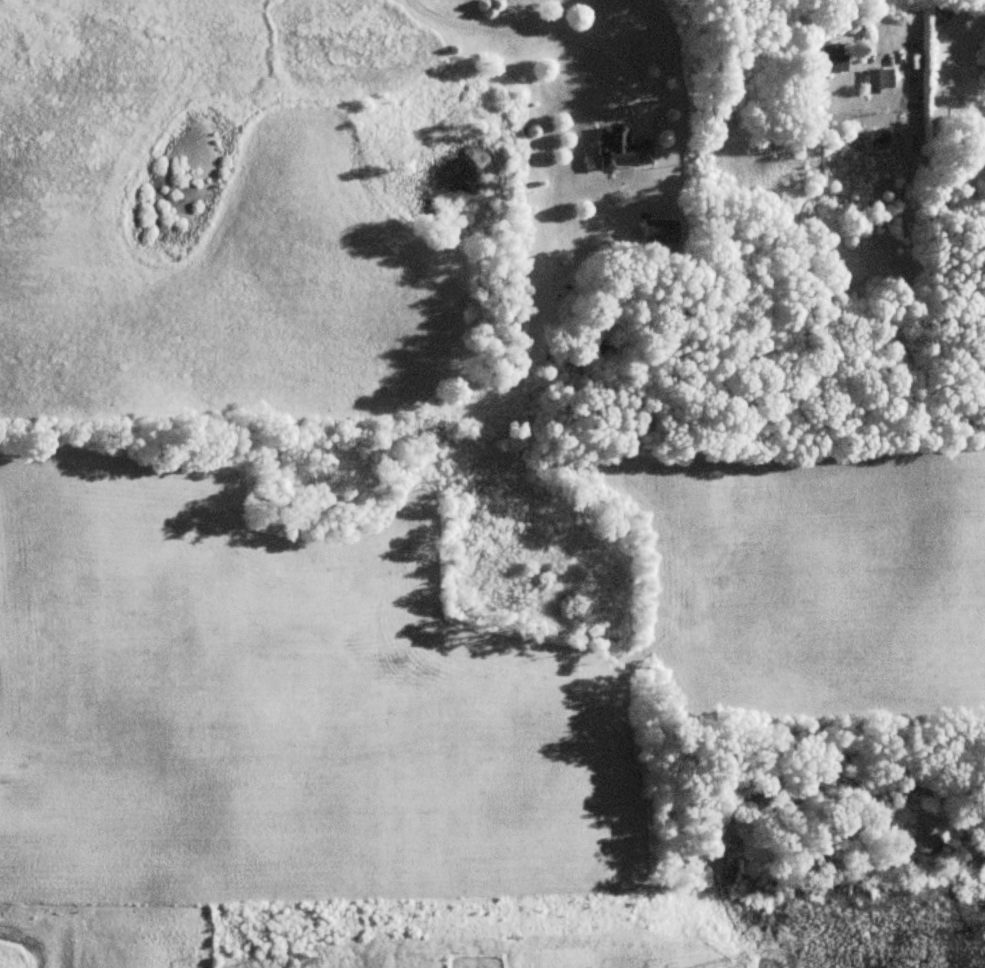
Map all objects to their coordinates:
road: (603, 50)
building: (826, 58)
building: (879, 80)
building: (876, 142)
building: (620, 149)
building: (658, 236)

